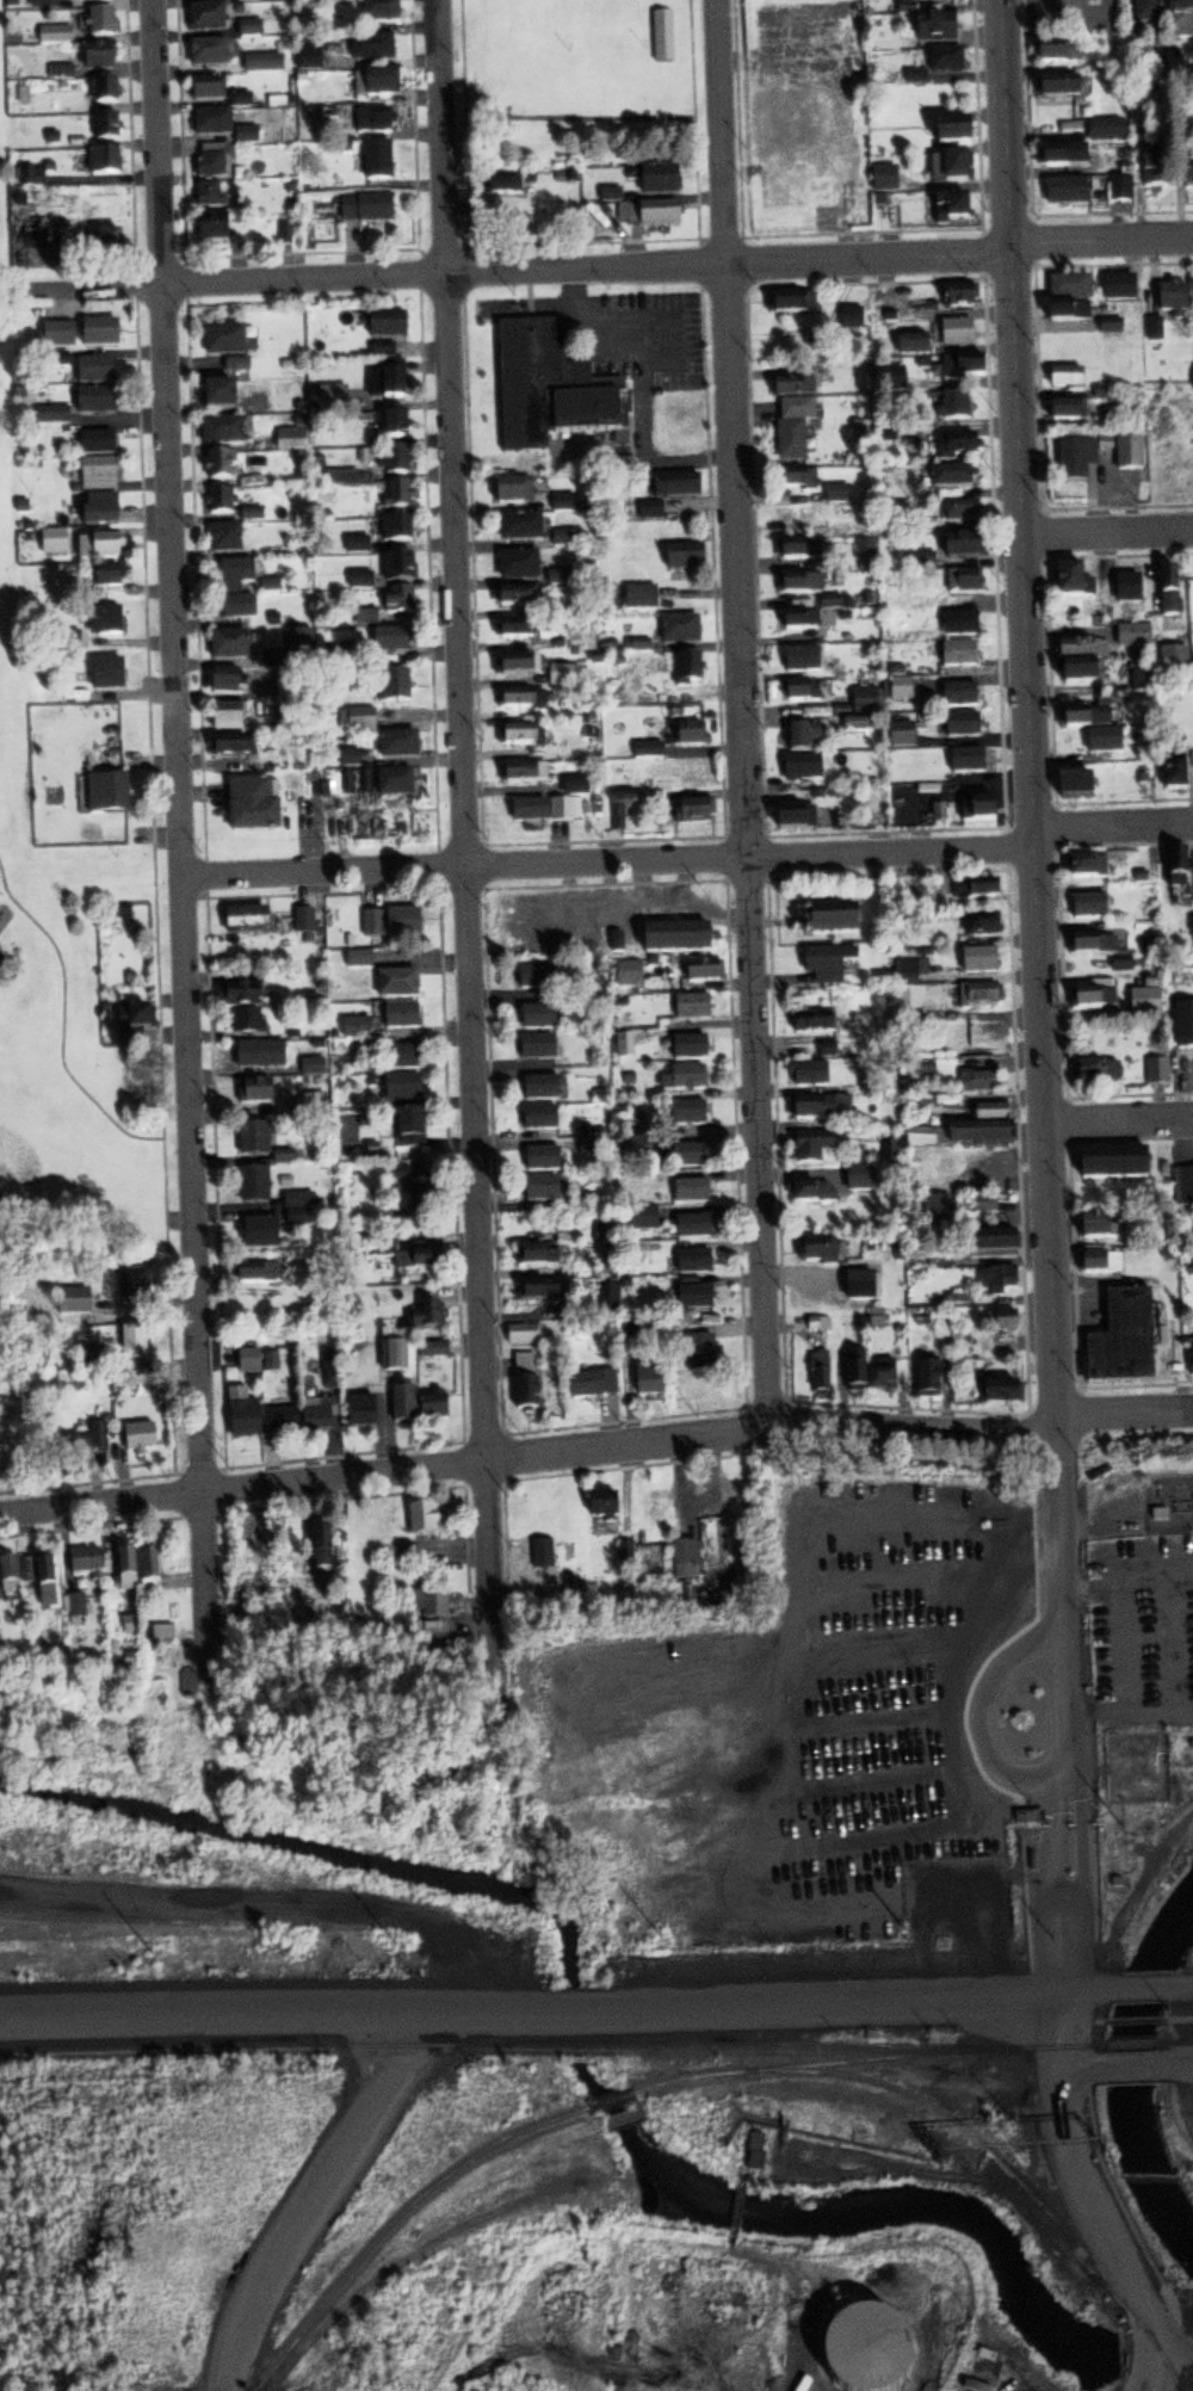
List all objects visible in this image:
park: (570, 38)
park: (70, 1032)
railway: (397, 2218)

